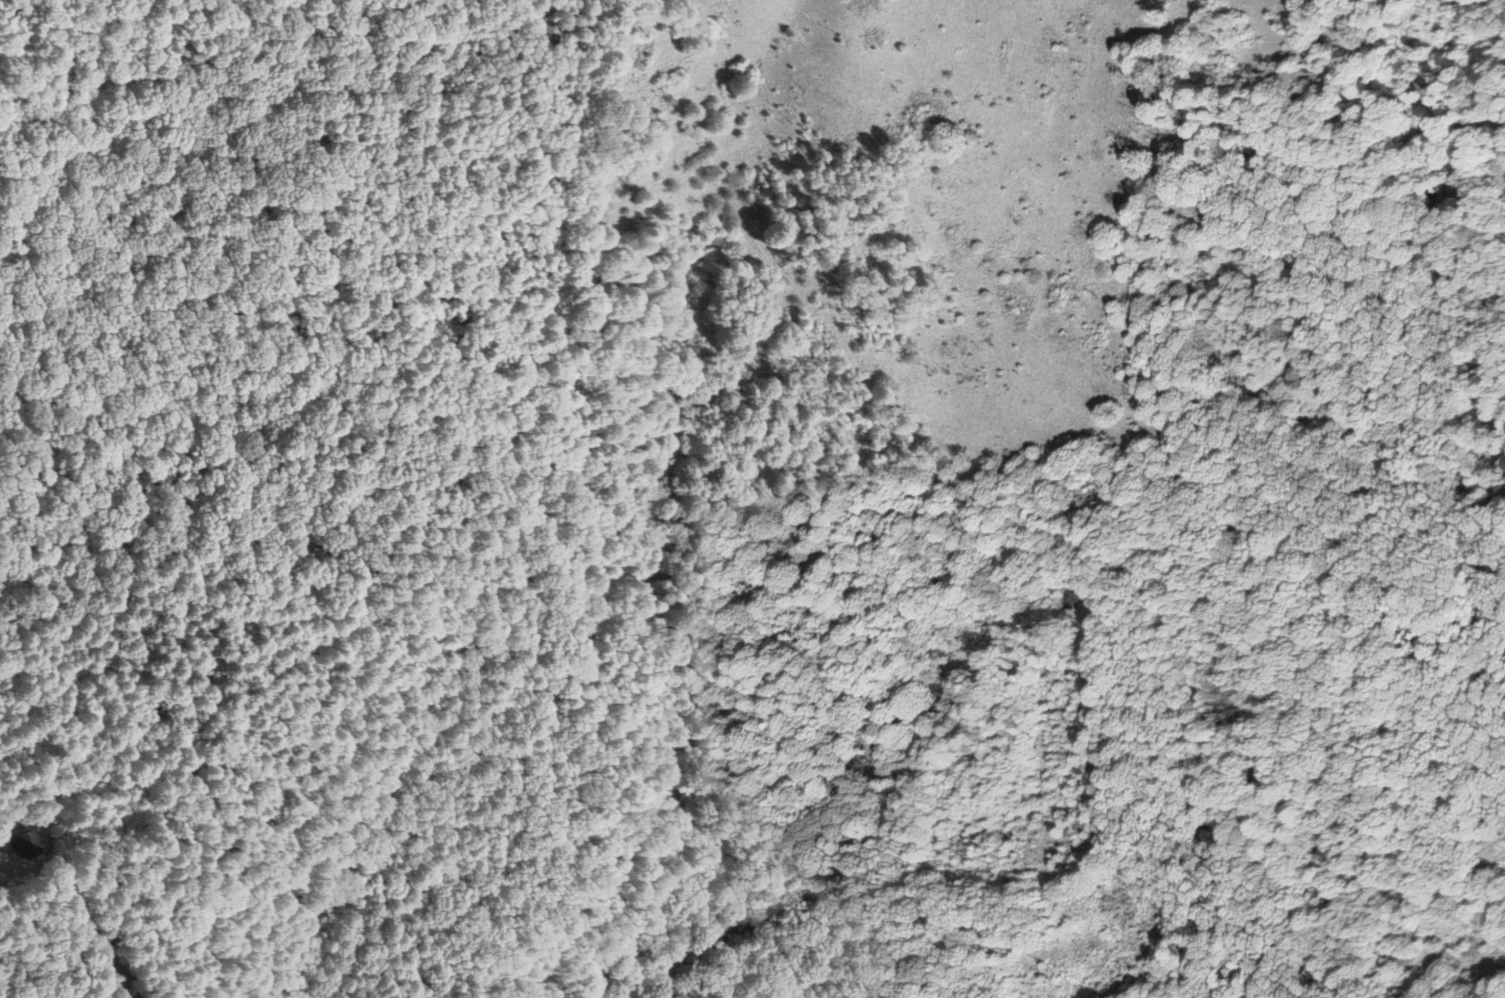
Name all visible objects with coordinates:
road: (1054, 898)
road: (85, 930)

